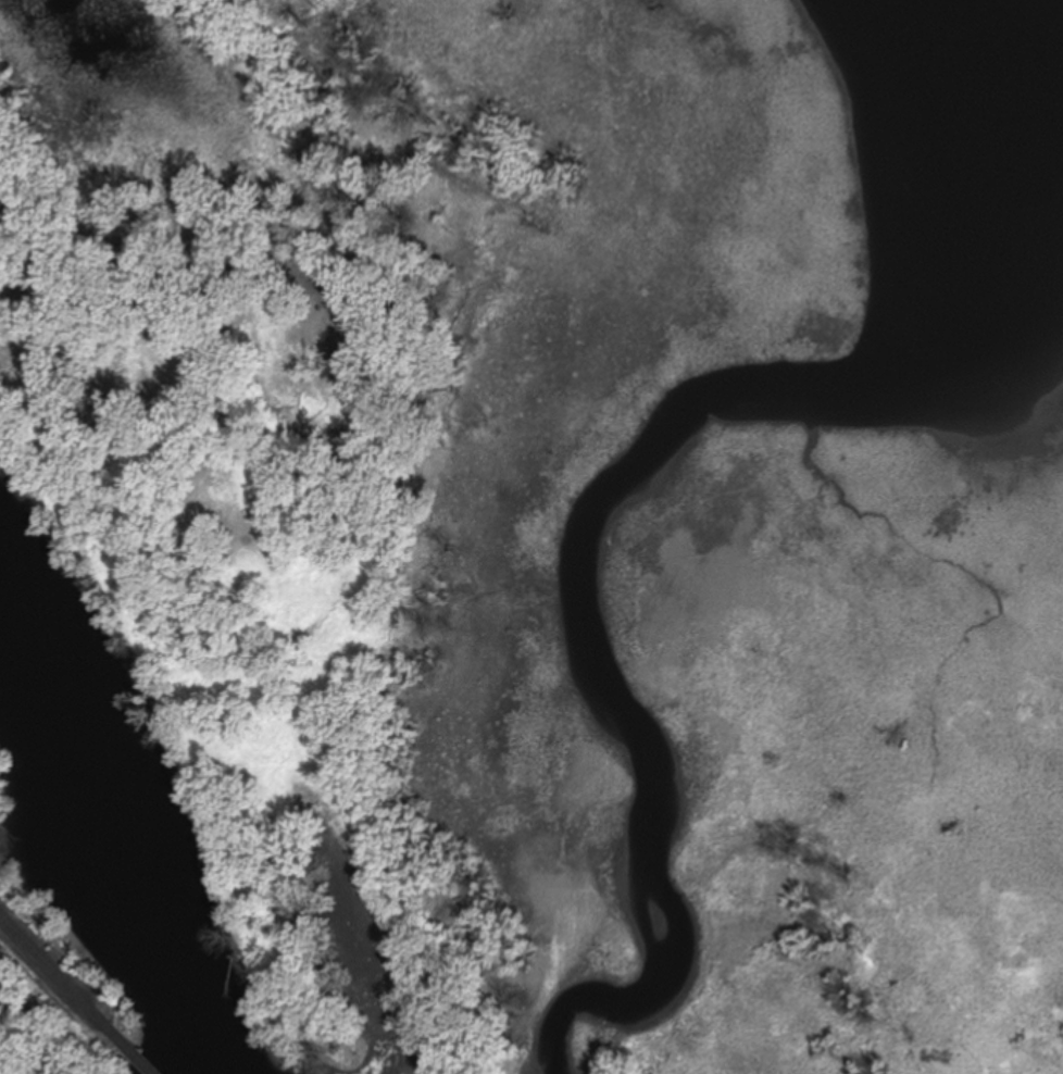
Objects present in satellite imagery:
river: (124, 788)
railway: (58, 973)
railway: (136, 1052)

